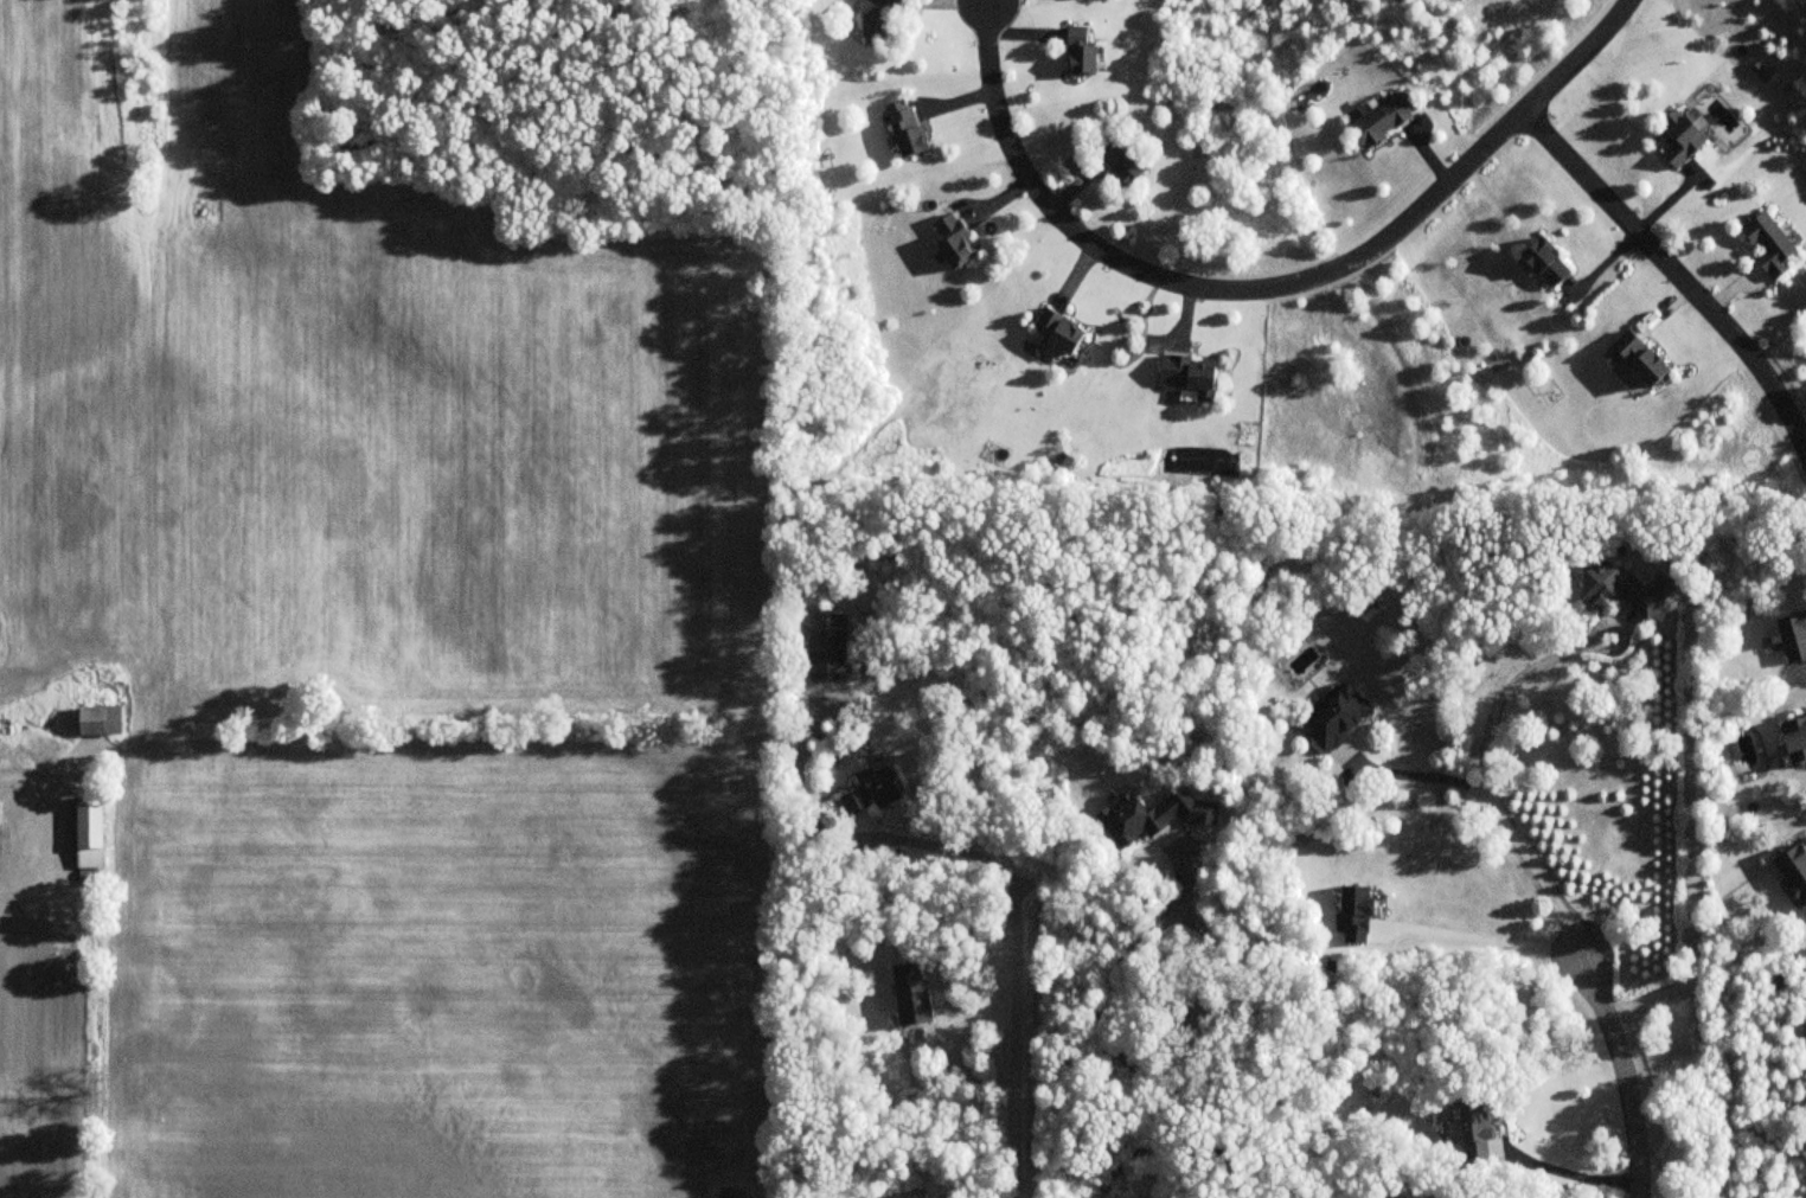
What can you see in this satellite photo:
building: (879, 17)
building: (1078, 52)
building: (1383, 121)
building: (904, 128)
building: (1682, 136)
building: (1120, 162)
building: (952, 241)
building: (1768, 244)
building: (1544, 263)
road: (1676, 271)
road: (1270, 287)
building: (1058, 332)
building: (1633, 361)
building: (1190, 373)
building: (1618, 589)
building: (1793, 636)
building: (826, 646)
building: (1337, 718)
building: (98, 722)
building: (1794, 739)
road: (1421, 777)
road: (1487, 783)
building: (871, 792)
building: (0, 814)
building: (1131, 820)
road: (62, 826)
building: (88, 834)
road: (1479, 941)
road: (1018, 961)
building: (910, 994)
road: (1107, 1040)
road: (1624, 1072)
building: (1475, 1129)
road: (1575, 1172)

